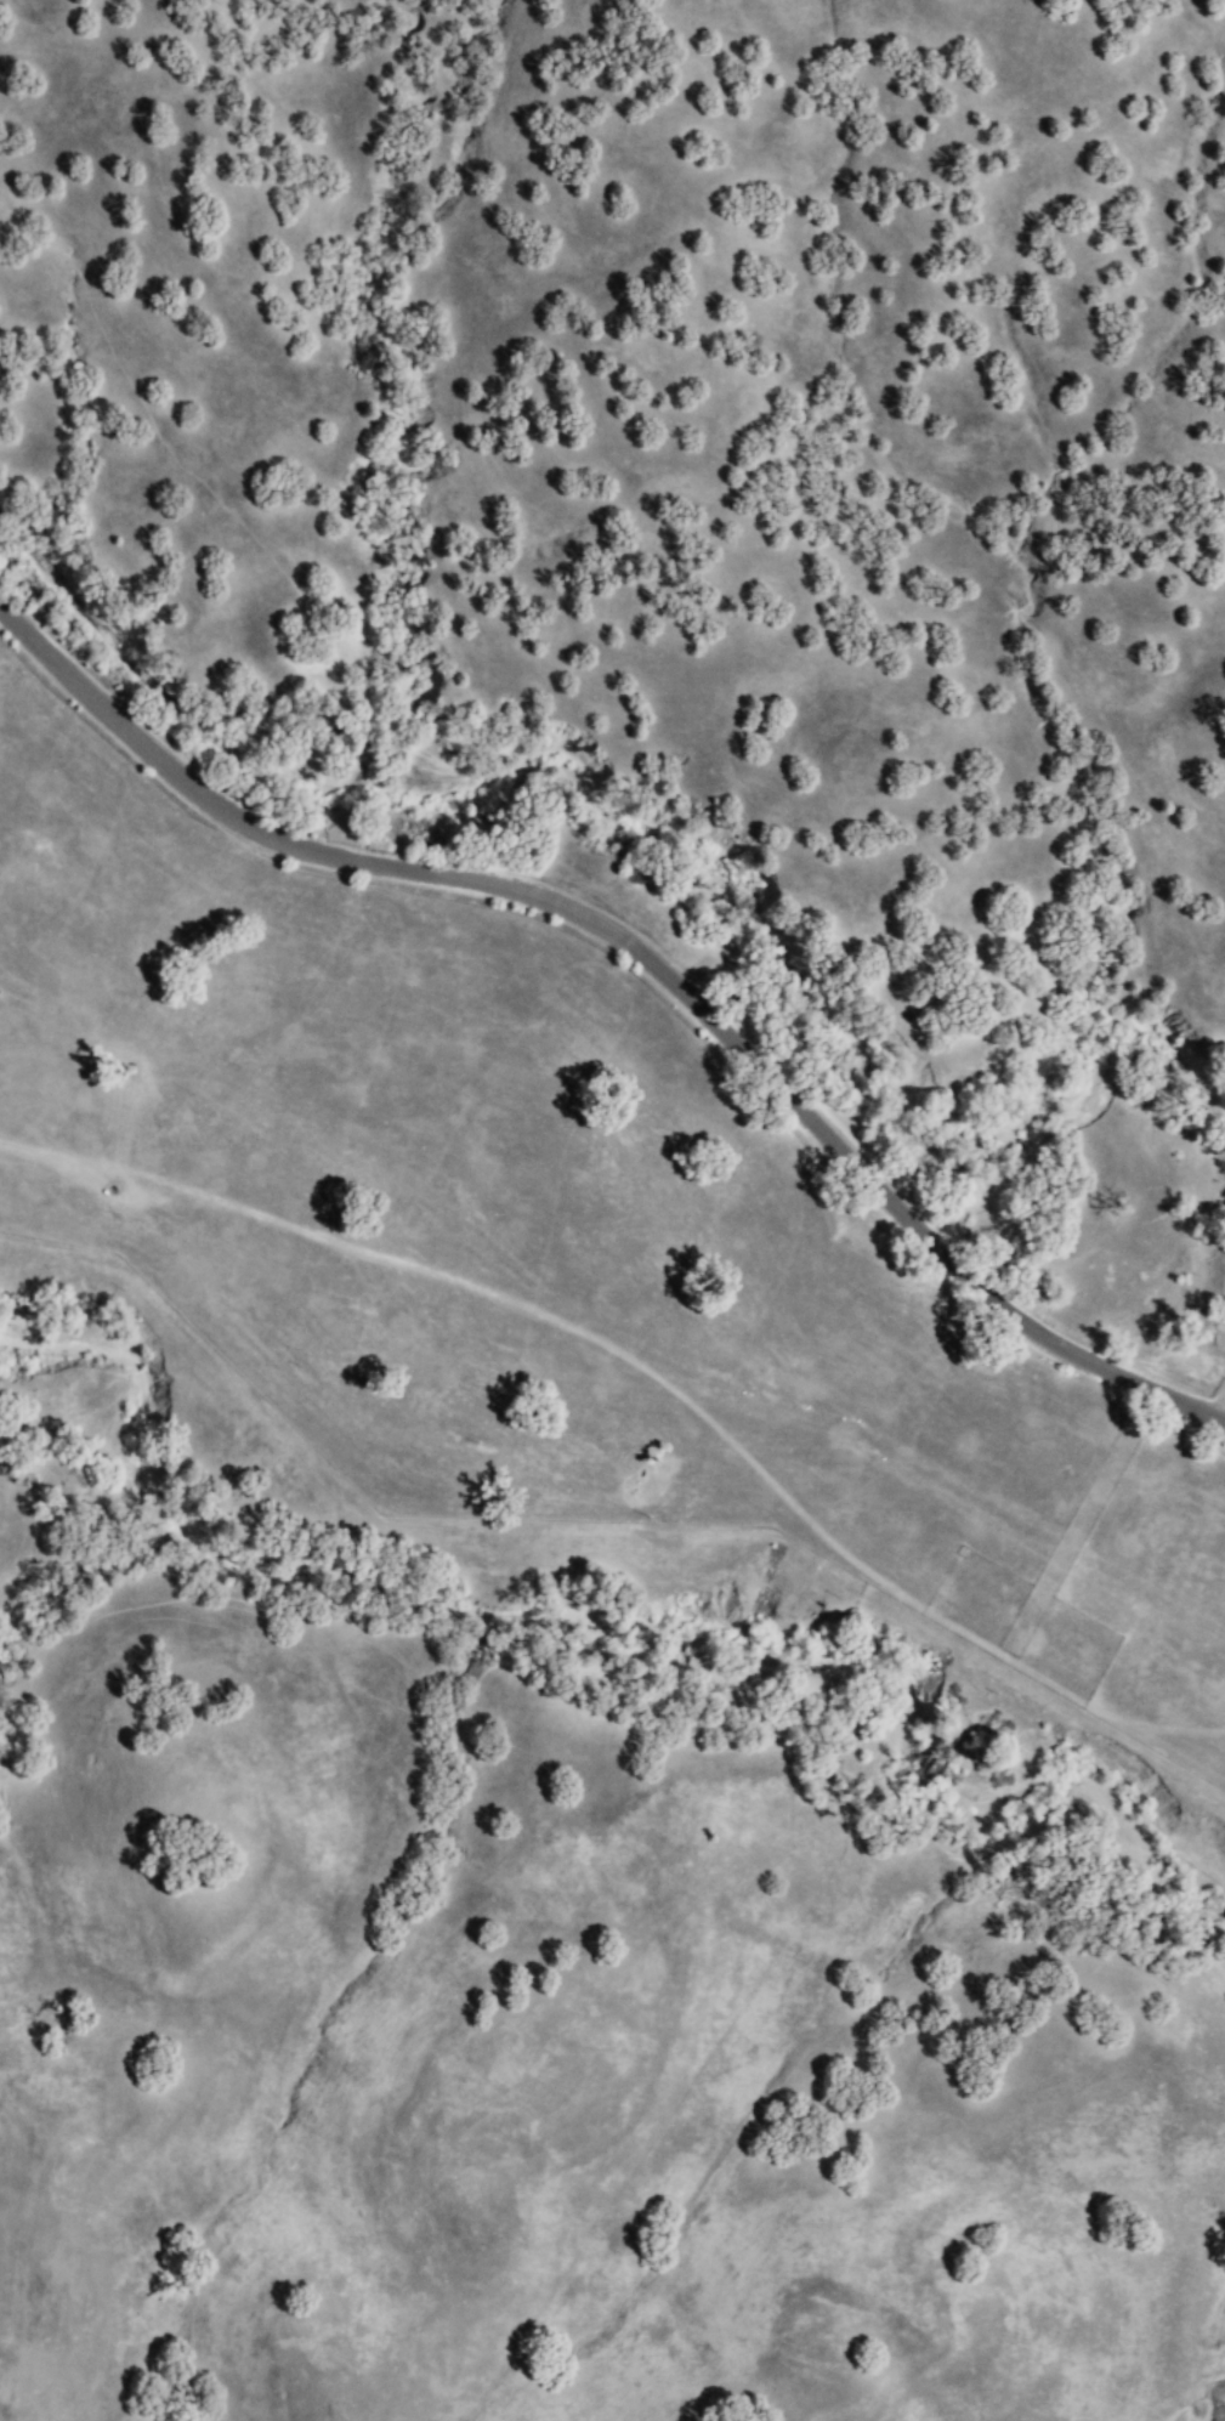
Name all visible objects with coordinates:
river: (660, 834)
road: (643, 957)
road: (103, 1129)
road: (104, 1162)
crop: (546, 1238)
road: (728, 1384)
road: (1218, 1407)

